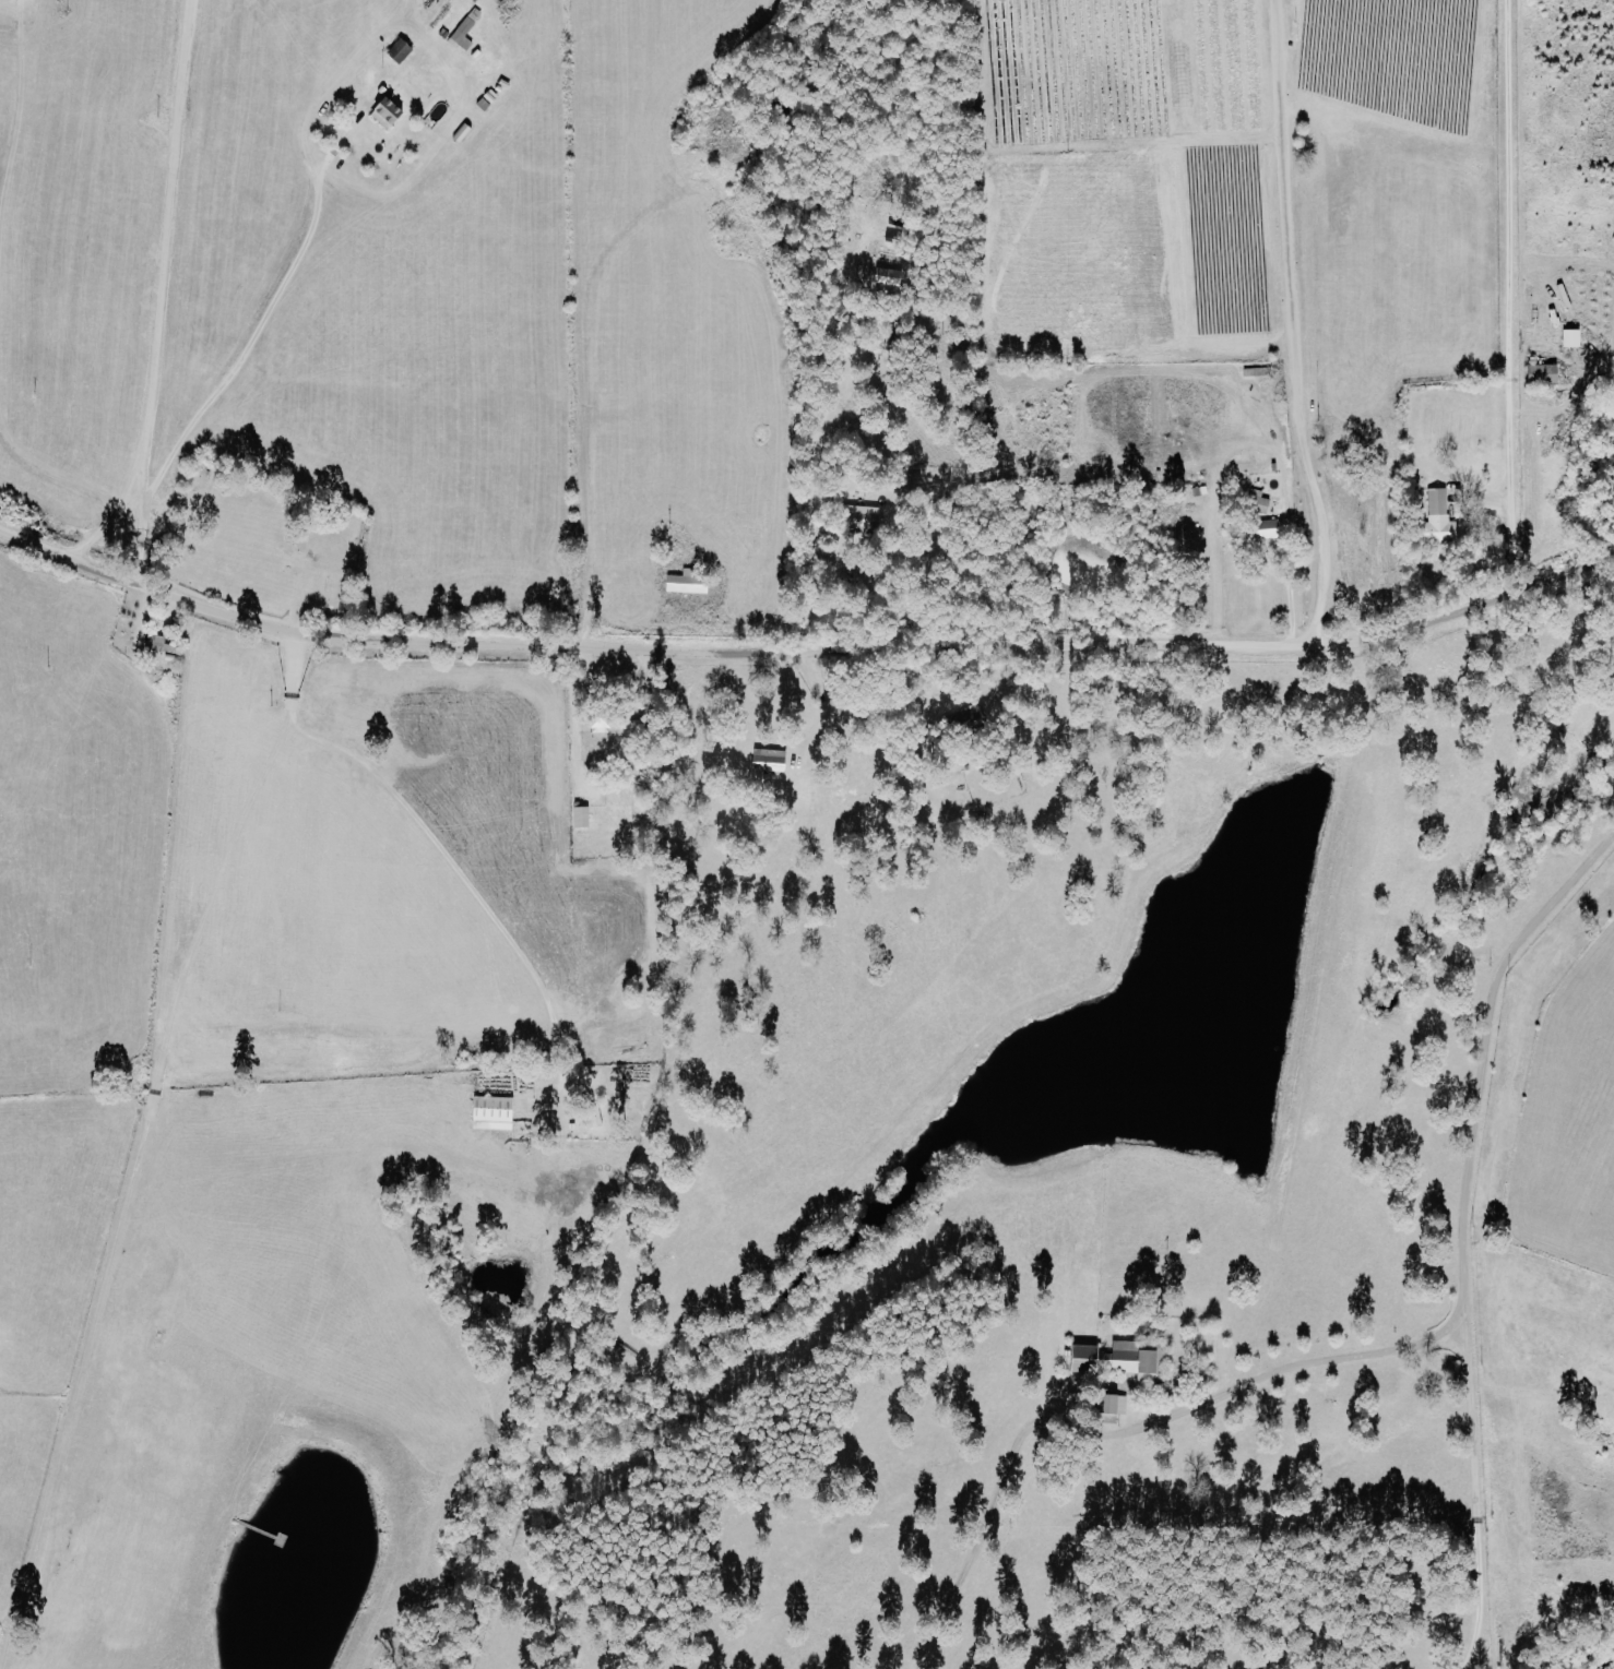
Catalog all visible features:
building: (467, 31)
building: (391, 114)
building: (893, 277)
road: (165, 294)
road: (1505, 296)
road: (261, 315)
road: (1295, 325)
building: (1576, 339)
building: (1546, 374)
road: (808, 501)
building: (866, 517)
building: (1443, 518)
building: (1270, 530)
park: (259, 544)
building: (690, 583)
road: (805, 647)
road: (608, 681)
building: (773, 760)
road: (425, 822)
building: (497, 1113)
road: (1468, 1233)
building: (1122, 1360)
building: (1117, 1405)
road: (1132, 1429)

